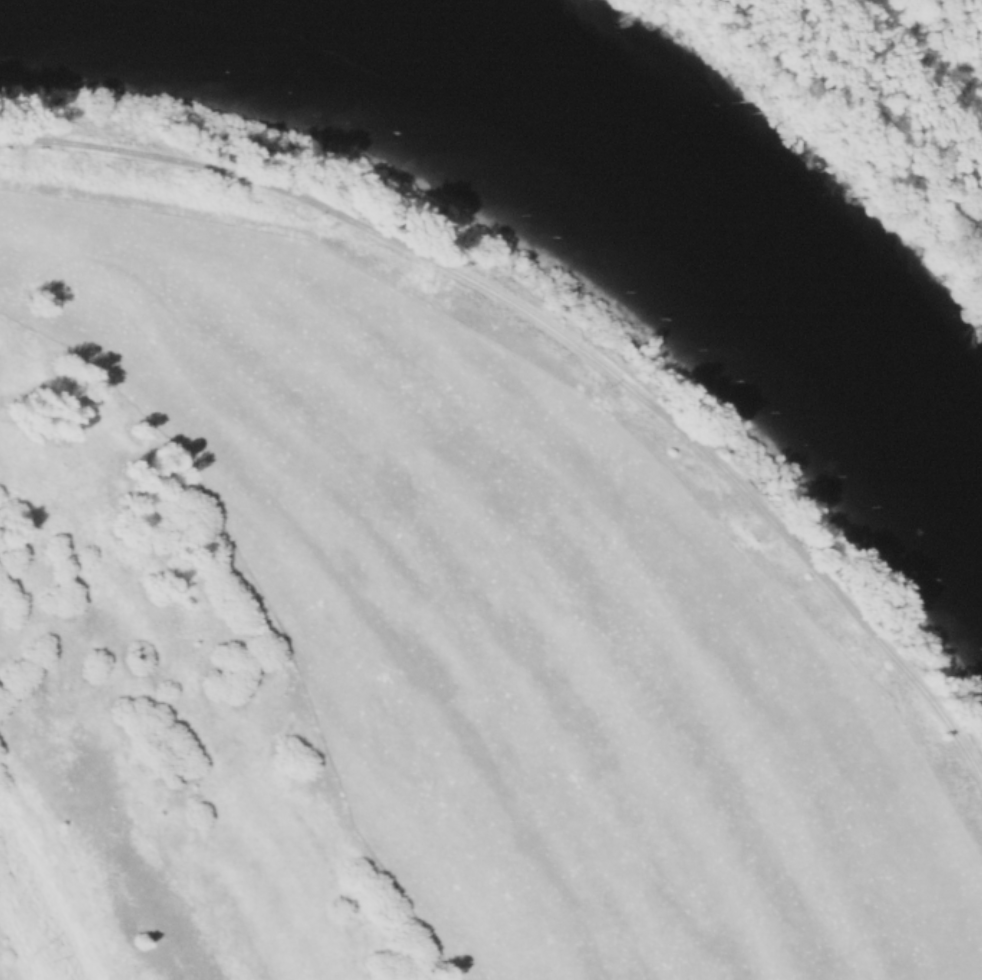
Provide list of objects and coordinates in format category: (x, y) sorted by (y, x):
river: (639, 180)
road: (568, 350)

